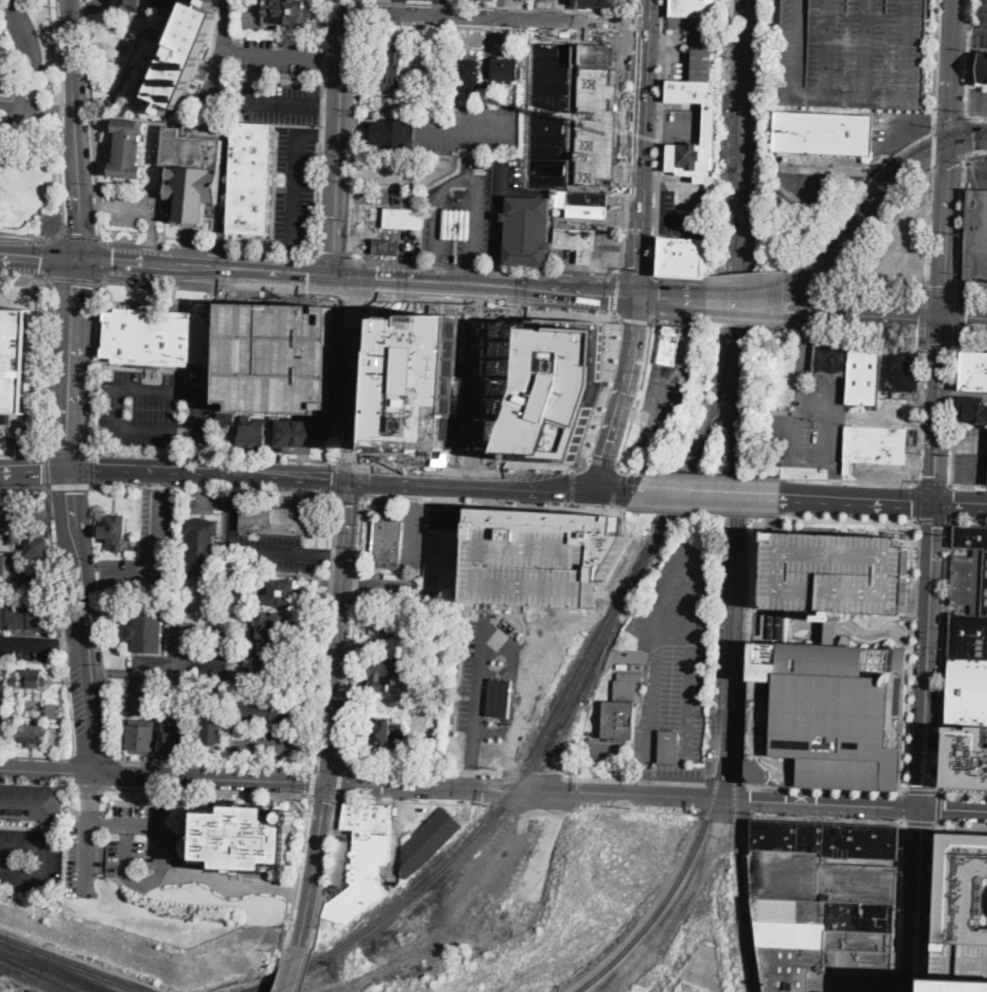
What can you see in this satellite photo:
road: (10, 0)
road: (439, 0)
parking lot: (443, 0)
building: (493, 0)
road: (163, 2)
building: (600, 2)
road: (83, 5)
building: (129, 5)
road: (505, 6)
road: (632, 6)
road: (986, 6)
road: (397, 7)
road: (439, 8)
road: (360, 10)
building: (288, 13)
road: (494, 18)
road: (632, 22)
parking lot: (981, 22)
road: (227, 24)
parking lot: (21, 25)
road: (422, 26)
road: (496, 27)
road: (971, 28)
building: (698, 31)
road: (954, 39)
road: (832, 49)
road: (870, 50)
road: (249, 51)
road: (36, 52)
building: (178, 53)
building: (855, 54)
parking garage: (855, 54)
parking lot: (276, 55)
road: (329, 58)
road: (968, 58)
road: (661, 60)
road: (60, 63)
road: (802, 63)
road: (934, 65)
building: (391, 67)
building: (983, 68)
building: (4, 69)
building: (506, 70)
building: (467, 72)
road: (427, 73)
road: (488, 73)
parking lot: (428, 74)
railway: (744, 82)
railway: (750, 82)
road: (908, 90)
parking lot: (271, 99)
road: (277, 100)
parking lot: (978, 100)
road: (11, 103)
road: (328, 103)
road: (981, 103)
road: (48, 106)
power tower: (966, 110)
road: (951, 111)
building: (553, 114)
parking lot: (553, 114)
building: (596, 115)
road: (977, 117)
traffic signals: (951, 118)
road: (11, 119)
road: (651, 121)
road: (91, 122)
road: (674, 122)
parking lot: (685, 122)
building: (711, 123)
road: (950, 124)
parking lot: (473, 127)
road: (320, 128)
road: (468, 128)
road: (75, 129)
parking lot: (899, 130)
road: (327, 132)
building: (392, 133)
building: (824, 134)
road: (967, 136)
road: (967, 136)
traffic signals: (974, 136)
road: (337, 139)
road: (356, 139)
road: (643, 147)
building: (129, 148)
road: (934, 151)
road: (658, 152)
road: (976, 152)
road: (625, 153)
road: (949, 162)
parking lot: (406, 166)
traffic signals: (947, 168)
building: (193, 169)
road: (350, 173)
road: (407, 175)
building: (250, 178)
road: (463, 178)
parking lot: (814, 179)
road: (946, 180)
road: (61, 181)
road: (294, 181)
road: (649, 183)
road: (681, 185)
parking lot: (295, 187)
road: (859, 196)
road: (656, 200)
parking lot: (693, 201)
building: (584, 204)
road: (143, 207)
road: (498, 207)
road: (868, 212)
road: (648, 215)
road: (679, 217)
building: (404, 218)
parking lot: (681, 218)
building: (457, 224)
road: (963, 226)
building: (528, 231)
road: (929, 233)
road: (28, 234)
road: (77, 236)
building: (976, 240)
building: (578, 242)
building: (387, 246)
road: (653, 246)
parking lot: (894, 247)
road: (209, 250)
traffic signals: (335, 251)
road: (39, 254)
road: (47, 255)
building: (683, 256)
road: (333, 257)
parking lot: (606, 257)
traffic signals: (78, 259)
road: (107, 261)
road: (291, 262)
road: (483, 265)
road: (942, 267)
road: (210, 269)
road: (634, 270)
road: (25, 272)
road: (438, 272)
road: (471, 274)
road: (495, 274)
road: (312, 276)
traffic signals: (308, 277)
road: (75, 278)
road: (362, 278)
road: (681, 278)
railway: (744, 279)
road: (751, 279)
traffic signals: (377, 280)
parking lot: (186, 281)
road: (490, 287)
road: (222, 288)
road: (942, 289)
road: (878, 292)
road: (617, 293)
traffic signals: (638, 295)
road: (654, 297)
road: (672, 297)
road: (974, 297)
road: (352, 298)
parking lot: (467, 299)
road: (750, 299)
road: (807, 301)
building: (177, 305)
traffic signals: (353, 306)
road: (493, 307)
road: (748, 309)
road: (884, 312)
road: (809, 313)
road: (838, 315)
road: (923, 317)
road: (679, 318)
traffic signals: (943, 318)
road: (636, 319)
road: (964, 320)
road: (960, 321)
road: (748, 322)
road: (857, 331)
building: (159, 337)
building: (510, 339)
road: (634, 341)
road: (941, 344)
building: (670, 345)
road: (806, 345)
road: (972, 345)
building: (276, 356)
parking lot: (276, 356)
building: (833, 356)
road: (93, 362)
road: (70, 363)
building: (901, 365)
building: (975, 371)
building: (865, 372)
building: (17, 374)
road: (352, 376)
road: (339, 378)
road: (365, 379)
building: (418, 382)
road: (93, 387)
power tower: (953, 387)
building: (728, 391)
building: (558, 393)
road: (606, 394)
road: (640, 394)
road: (963, 394)
road: (817, 401)
parking lot: (900, 405)
parking lot: (157, 407)
building: (973, 409)
road: (920, 411)
road: (939, 411)
road: (954, 414)
building: (247, 418)
road: (893, 422)
road: (199, 426)
parking lot: (810, 426)
road: (795, 427)
road: (820, 433)
building: (252, 434)
road: (957, 434)
building: (299, 435)
road: (612, 437)
building: (876, 446)
road: (199, 449)
road: (69, 450)
road: (22, 451)
road: (215, 455)
parking lot: (971, 455)
road: (351, 459)
road: (604, 459)
road: (974, 459)
road: (472, 464)
road: (92, 467)
road: (46, 468)
traffic signals: (67, 469)
road: (33, 470)
road: (633, 472)
road: (208, 473)
road: (337, 475)
road: (714, 475)
road: (363, 476)
traffic signals: (351, 477)
road: (849, 481)
road: (474, 482)
road: (232, 483)
road: (934, 483)
road: (70, 484)
road: (834, 484)
road: (969, 485)
road: (24, 486)
road: (573, 486)
road: (212, 487)
traffic signals: (599, 487)
road: (614, 488)
road: (618, 488)
road: (204, 490)
road: (413, 491)
road: (709, 492)
road: (349, 493)
road: (972, 494)
road: (490, 495)
road: (858, 500)
road: (495, 501)
road: (917, 501)
road: (950, 502)
traffic signals: (936, 504)
road: (961, 504)
road: (704, 511)
road: (490, 517)
road: (848, 518)
building: (279, 520)
road: (933, 520)
road: (968, 521)
road: (230, 522)
building: (562, 528)
building: (8, 530)
building: (115, 531)
power tower: (947, 531)
road: (411, 534)
building: (970, 536)
building: (38, 545)
building: (387, 545)
building: (202, 547)
parking lot: (146, 548)
road: (157, 548)
road: (277, 551)
road: (335, 553)
road: (689, 556)
building: (443, 558)
road: (53, 561)
building: (532, 566)
parking garage: (532, 566)
building: (37, 569)
railway: (741, 569)
railway: (635, 571)
parking garage: (838, 572)
building: (837, 573)
parking lot: (837, 573)
building: (235, 579)
road: (394, 581)
building: (282, 592)
building: (26, 616)
road: (86, 621)
road: (799, 622)
building: (267, 627)
road: (325, 630)
road: (353, 630)
road: (339, 631)
road: (875, 631)
building: (148, 632)
parking lot: (672, 648)
road: (61, 649)
road: (45, 651)
road: (929, 654)
road: (911, 656)
road: (944, 657)
building: (267, 662)
building: (623, 665)
building: (1, 666)
building: (639, 666)
building: (968, 669)
road: (170, 671)
building: (387, 675)
railway: (592, 675)
building: (34, 678)
parking lot: (486, 678)
building: (13, 680)
road: (511, 686)
railway: (592, 687)
road: (478, 694)
building: (0, 697)
building: (621, 707)
building: (53, 710)
building: (271, 711)
building: (827, 713)
railway: (727, 718)
building: (213, 727)
building: (32, 734)
building: (55, 735)
building: (172, 736)
building: (385, 736)
building: (141, 737)
road: (73, 744)
building: (668, 746)
road: (278, 748)
road: (92, 757)
building: (966, 758)
road: (214, 763)
road: (328, 767)
road: (421, 769)
parking lot: (676, 771)
road: (45, 772)
road: (534, 774)
road: (644, 777)
road: (209, 779)
road: (311, 780)
road: (339, 781)
road: (635, 781)
traffic signals: (327, 785)
road: (726, 785)
road: (827, 789)
road: (625, 791)
road: (922, 792)
road: (963, 794)
road: (323, 795)
road: (206, 797)
road: (411, 799)
building: (32, 803)
road: (905, 807)
road: (954, 807)
road: (624, 809)
road: (940, 809)
road: (724, 814)
road: (830, 820)
road: (920, 823)
road: (961, 825)
road: (88, 832)
building: (244, 838)
building: (429, 841)
road: (302, 842)
parking lot: (121, 847)
parking lot: (29, 858)
road: (162, 859)
building: (364, 860)
building: (340, 861)
road: (496, 861)
road: (45, 862)
road: (313, 864)
railway: (739, 868)
road: (323, 872)
parking lot: (483, 884)
road: (225, 889)
road: (919, 898)
road: (986, 899)
building: (825, 906)
road: (901, 907)
road: (935, 908)
building: (963, 913)
road: (291, 917)
railway: (71, 964)
railway: (54, 967)
parking garage: (962, 967)
road: (281, 968)
road: (294, 968)
road: (305, 970)
railway: (53, 971)
railway: (42, 972)
railway: (31, 977)

